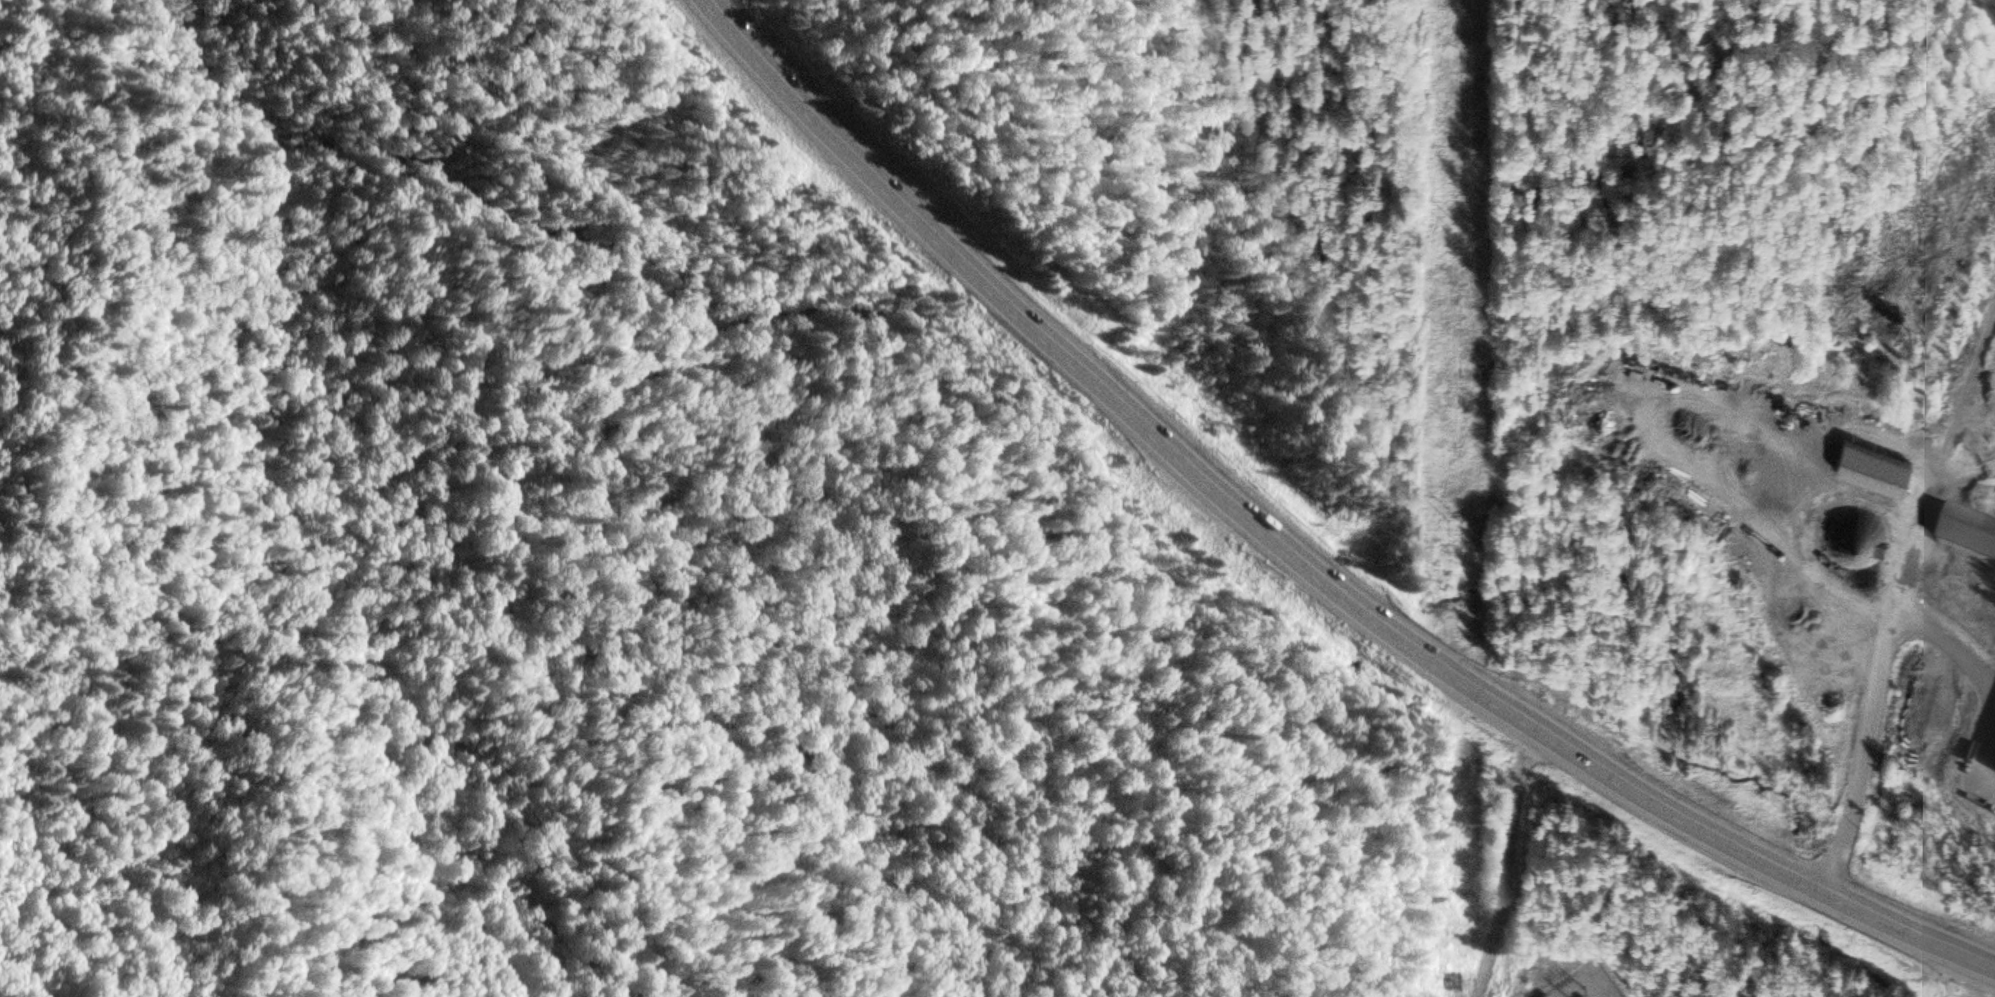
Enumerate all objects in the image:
road: (173, 100)
power tower: (1461, 231)
park: (558, 277)
building: (1877, 473)
power tower: (1458, 526)
building: (1857, 527)
road: (1296, 558)
road: (1875, 695)
power tower: (1458, 828)
power tower: (1452, 981)
power substation: (1588, 984)

